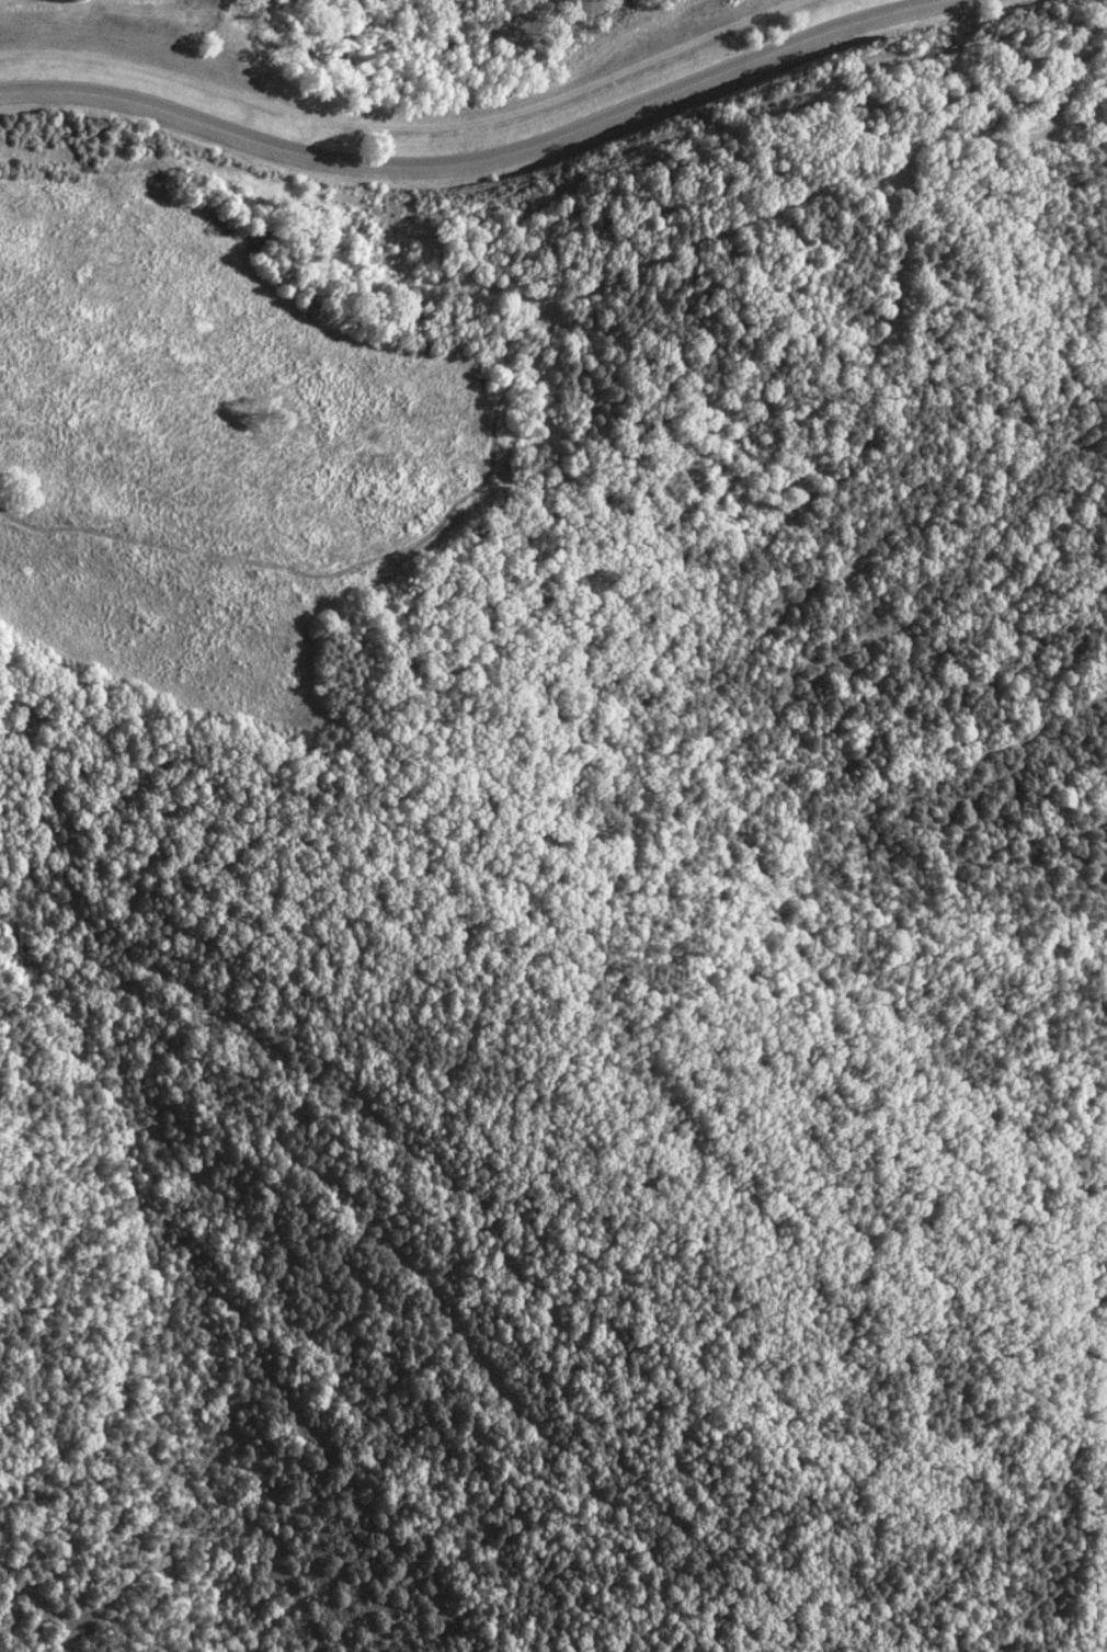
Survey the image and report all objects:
road: (476, 157)

